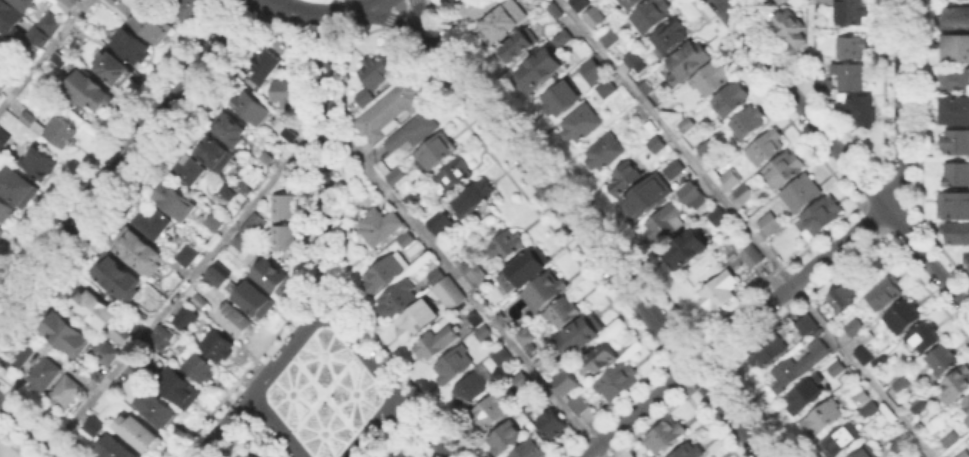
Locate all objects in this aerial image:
building: (115, 0)
park: (322, 0)
building: (449, 0)
building: (453, 0)
building: (827, 1)
road: (719, 2)
road: (722, 2)
building: (64, 3)
building: (26, 4)
building: (580, 4)
building: (632, 4)
building: (796, 4)
road: (363, 6)
road: (248, 8)
building: (474, 8)
building: (555, 9)
building: (195, 10)
road: (394, 11)
building: (851, 11)
road: (310, 13)
road: (418, 15)
building: (594, 16)
building: (650, 16)
road: (387, 17)
building: (956, 17)
building: (10, 19)
building: (505, 21)
building: (48, 22)
building: (153, 26)
building: (791, 30)
road: (282, 32)
road: (360, 33)
building: (37, 34)
building: (672, 36)
road: (322, 37)
building: (561, 37)
building: (610, 38)
building: (133, 47)
building: (520, 47)
building: (956, 47)
building: (852, 48)
road: (811, 51)
road: (43, 53)
building: (632, 59)
building: (61, 60)
building: (689, 61)
building: (265, 66)
building: (590, 68)
building: (112, 69)
building: (540, 70)
building: (377, 71)
building: (851, 76)
building: (712, 80)
building: (956, 80)
building: (4, 82)
building: (825, 82)
building: (647, 89)
building: (607, 90)
building: (89, 92)
building: (285, 94)
building: (366, 99)
building: (561, 100)
building: (732, 101)
road: (900, 107)
building: (251, 109)
building: (862, 111)
building: (957, 112)
building: (392, 113)
building: (30, 119)
building: (751, 123)
building: (583, 125)
building: (651, 126)
building: (687, 126)
building: (231, 129)
building: (64, 135)
building: (290, 135)
building: (413, 135)
building: (4, 138)
building: (956, 143)
building: (656, 144)
building: (763, 147)
road: (124, 152)
building: (219, 152)
building: (438, 152)
building: (709, 152)
building: (606, 154)
road: (844, 158)
road: (323, 161)
building: (41, 164)
building: (781, 168)
building: (189, 170)
building: (674, 170)
building: (455, 175)
building: (957, 176)
building: (397, 177)
building: (728, 177)
building: (624, 180)
building: (19, 186)
building: (246, 190)
building: (799, 191)
building: (742, 192)
road: (552, 193)
building: (229, 194)
building: (472, 195)
building: (694, 195)
building: (647, 196)
building: (411, 198)
building: (174, 202)
building: (952, 204)
building: (284, 205)
building: (7, 209)
building: (820, 212)
building: (720, 218)
building: (438, 220)
building: (216, 221)
building: (767, 221)
building: (668, 222)
building: (153, 223)
building: (251, 224)
building: (380, 226)
road: (746, 228)
building: (2, 233)
building: (957, 234)
building: (284, 236)
building: (407, 241)
building: (242, 242)
building: (505, 250)
building: (686, 252)
building: (140, 254)
building: (190, 256)
building: (754, 257)
building: (968, 261)
building: (528, 266)
building: (475, 272)
building: (218, 273)
building: (385, 274)
building: (116, 279)
building: (276, 279)
road: (793, 283)
road: (183, 285)
building: (448, 289)
road: (466, 290)
building: (546, 291)
building: (720, 292)
building: (885, 292)
building: (842, 298)
building: (399, 299)
building: (200, 300)
building: (257, 302)
building: (94, 308)
building: (564, 314)
building: (903, 318)
building: (187, 319)
building: (418, 320)
building: (476, 320)
building: (236, 322)
building: (807, 325)
building: (857, 329)
building: (123, 332)
building: (165, 334)
building: (485, 334)
building: (70, 335)
building: (582, 336)
building: (923, 338)
building: (530, 340)
building: (218, 342)
building: (438, 343)
road: (284, 350)
road: (361, 350)
building: (769, 350)
building: (107, 352)
building: (17, 356)
road: (699, 356)
building: (503, 357)
building: (603, 357)
building: (866, 357)
building: (943, 359)
building: (455, 366)
building: (140, 367)
building: (799, 367)
building: (201, 368)
building: (838, 370)
road: (682, 371)
building: (44, 374)
building: (86, 378)
building: (618, 379)
building: (522, 382)
building: (567, 382)
building: (958, 384)
building: (900, 385)
building: (179, 388)
building: (475, 388)
building: (66, 395)
building: (807, 396)
building: (861, 398)
building: (535, 403)
building: (581, 403)
building: (966, 404)
building: (920, 407)
building: (867, 408)
building: (161, 409)
building: (491, 411)
road: (632, 414)
road: (732, 415)
building: (825, 419)
building: (966, 420)
building: (555, 425)
road: (223, 426)
road: (273, 426)
road: (371, 426)
road: (423, 426)
building: (96, 428)
road: (33, 429)
building: (141, 432)
building: (662, 434)
building: (508, 438)
building: (949, 438)
building: (842, 442)
building: (899, 445)
building: (118, 449)
building: (693, 449)
building: (530, 450)
building: (865, 453)
building: (399, 454)
building: (965, 454)
building: (248, 455)

